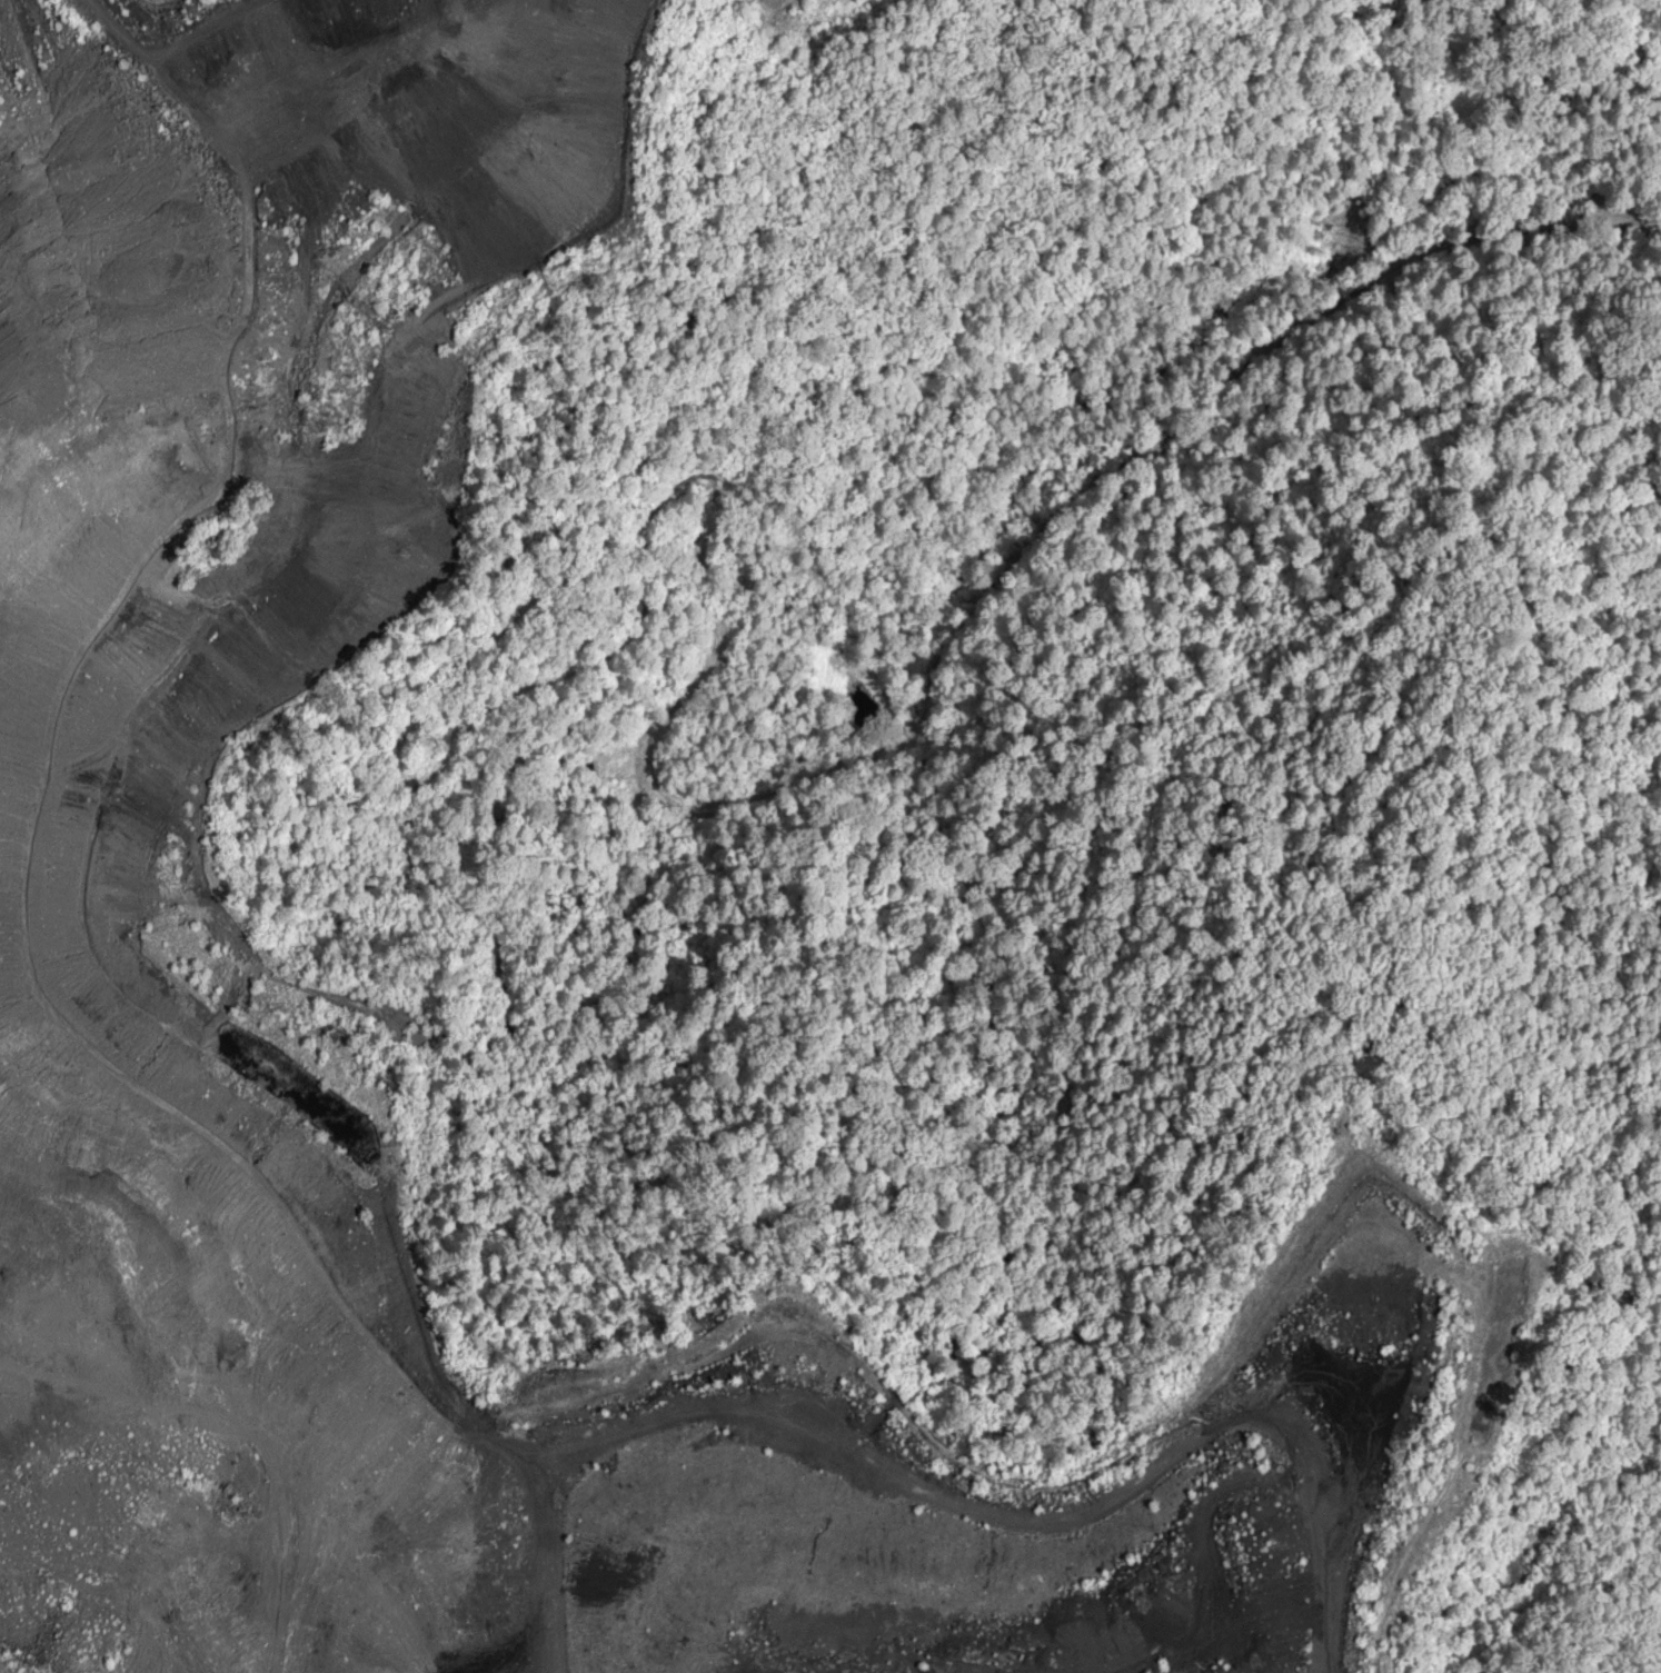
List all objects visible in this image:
road: (830, 1052)

